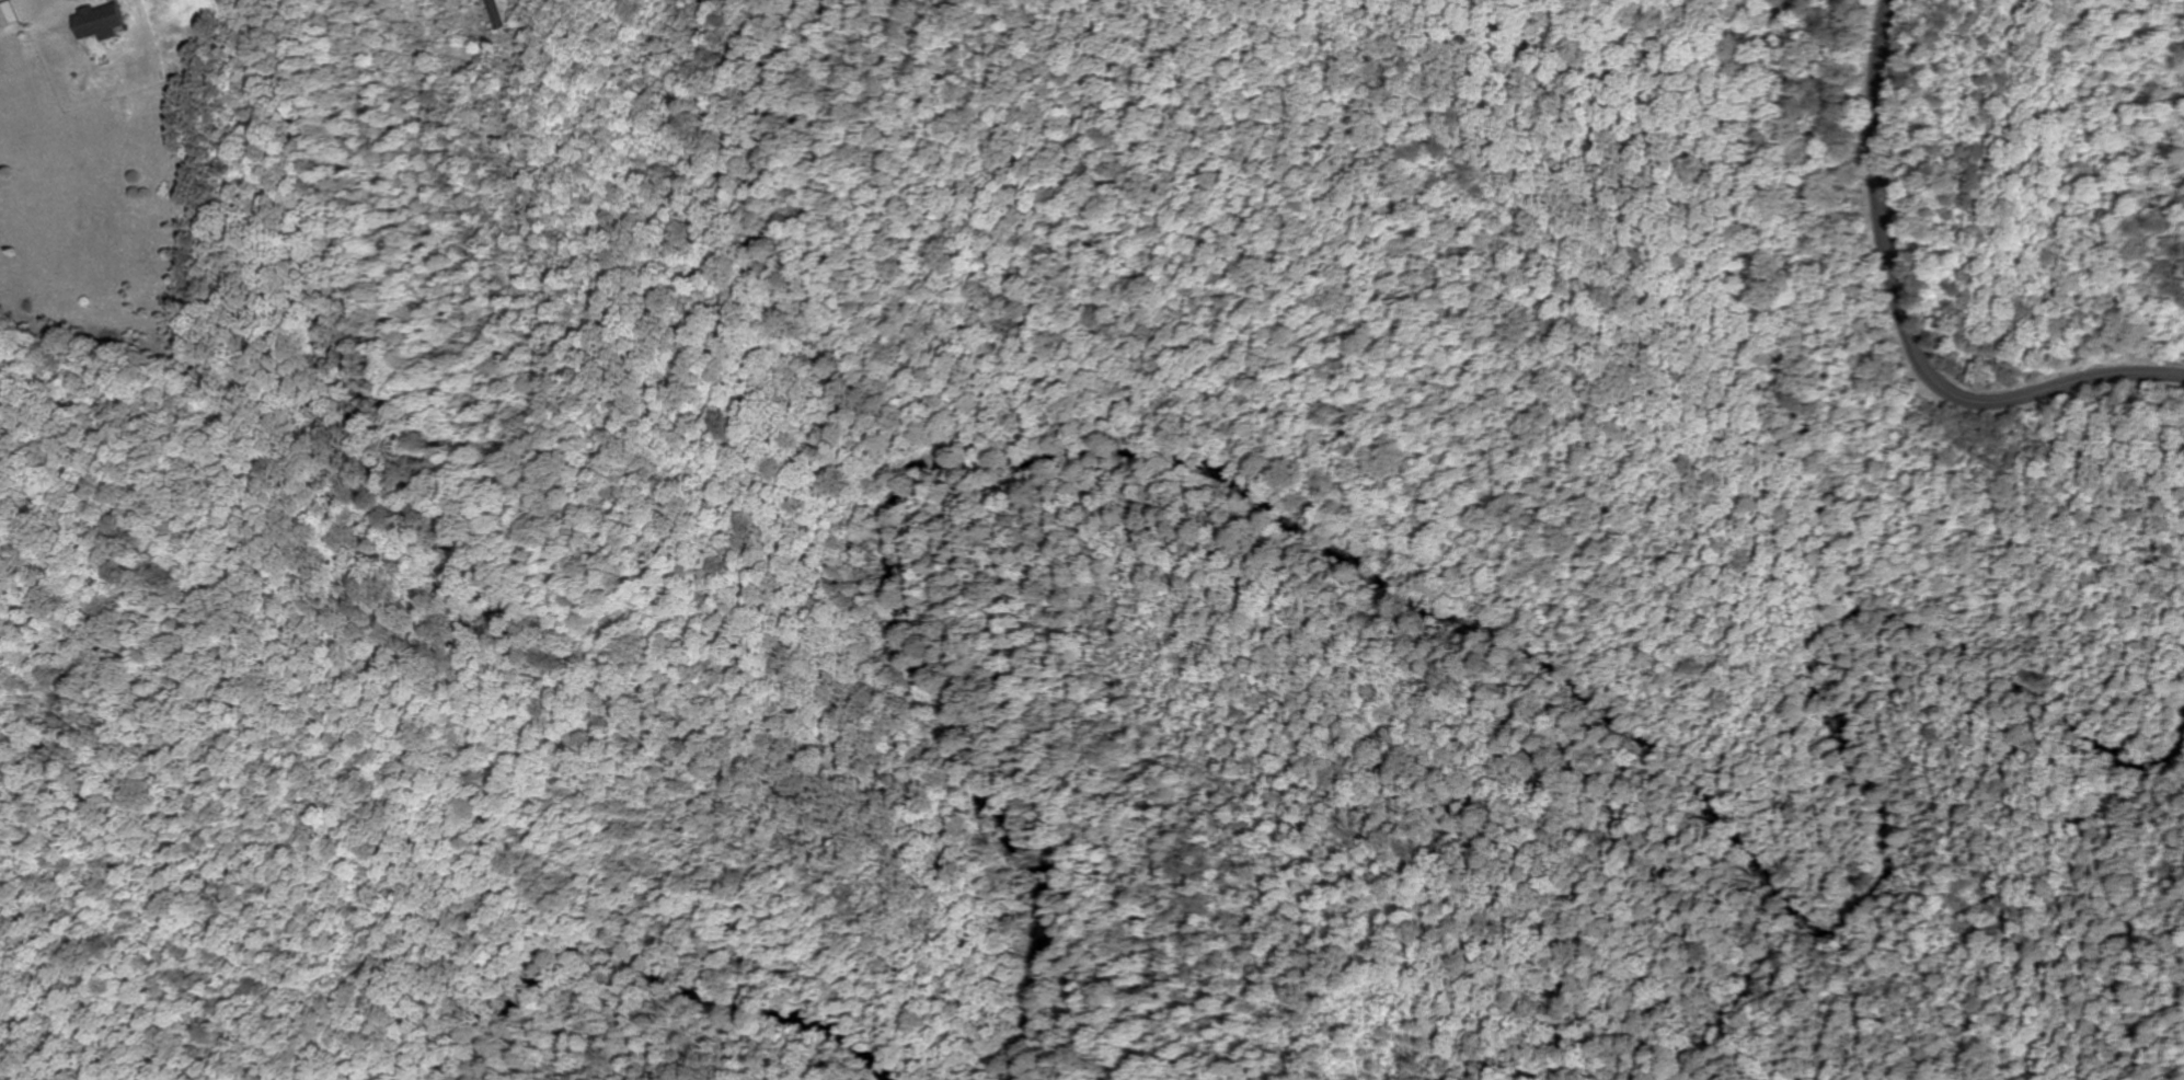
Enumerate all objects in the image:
building: (101, 23)
road: (1903, 320)

